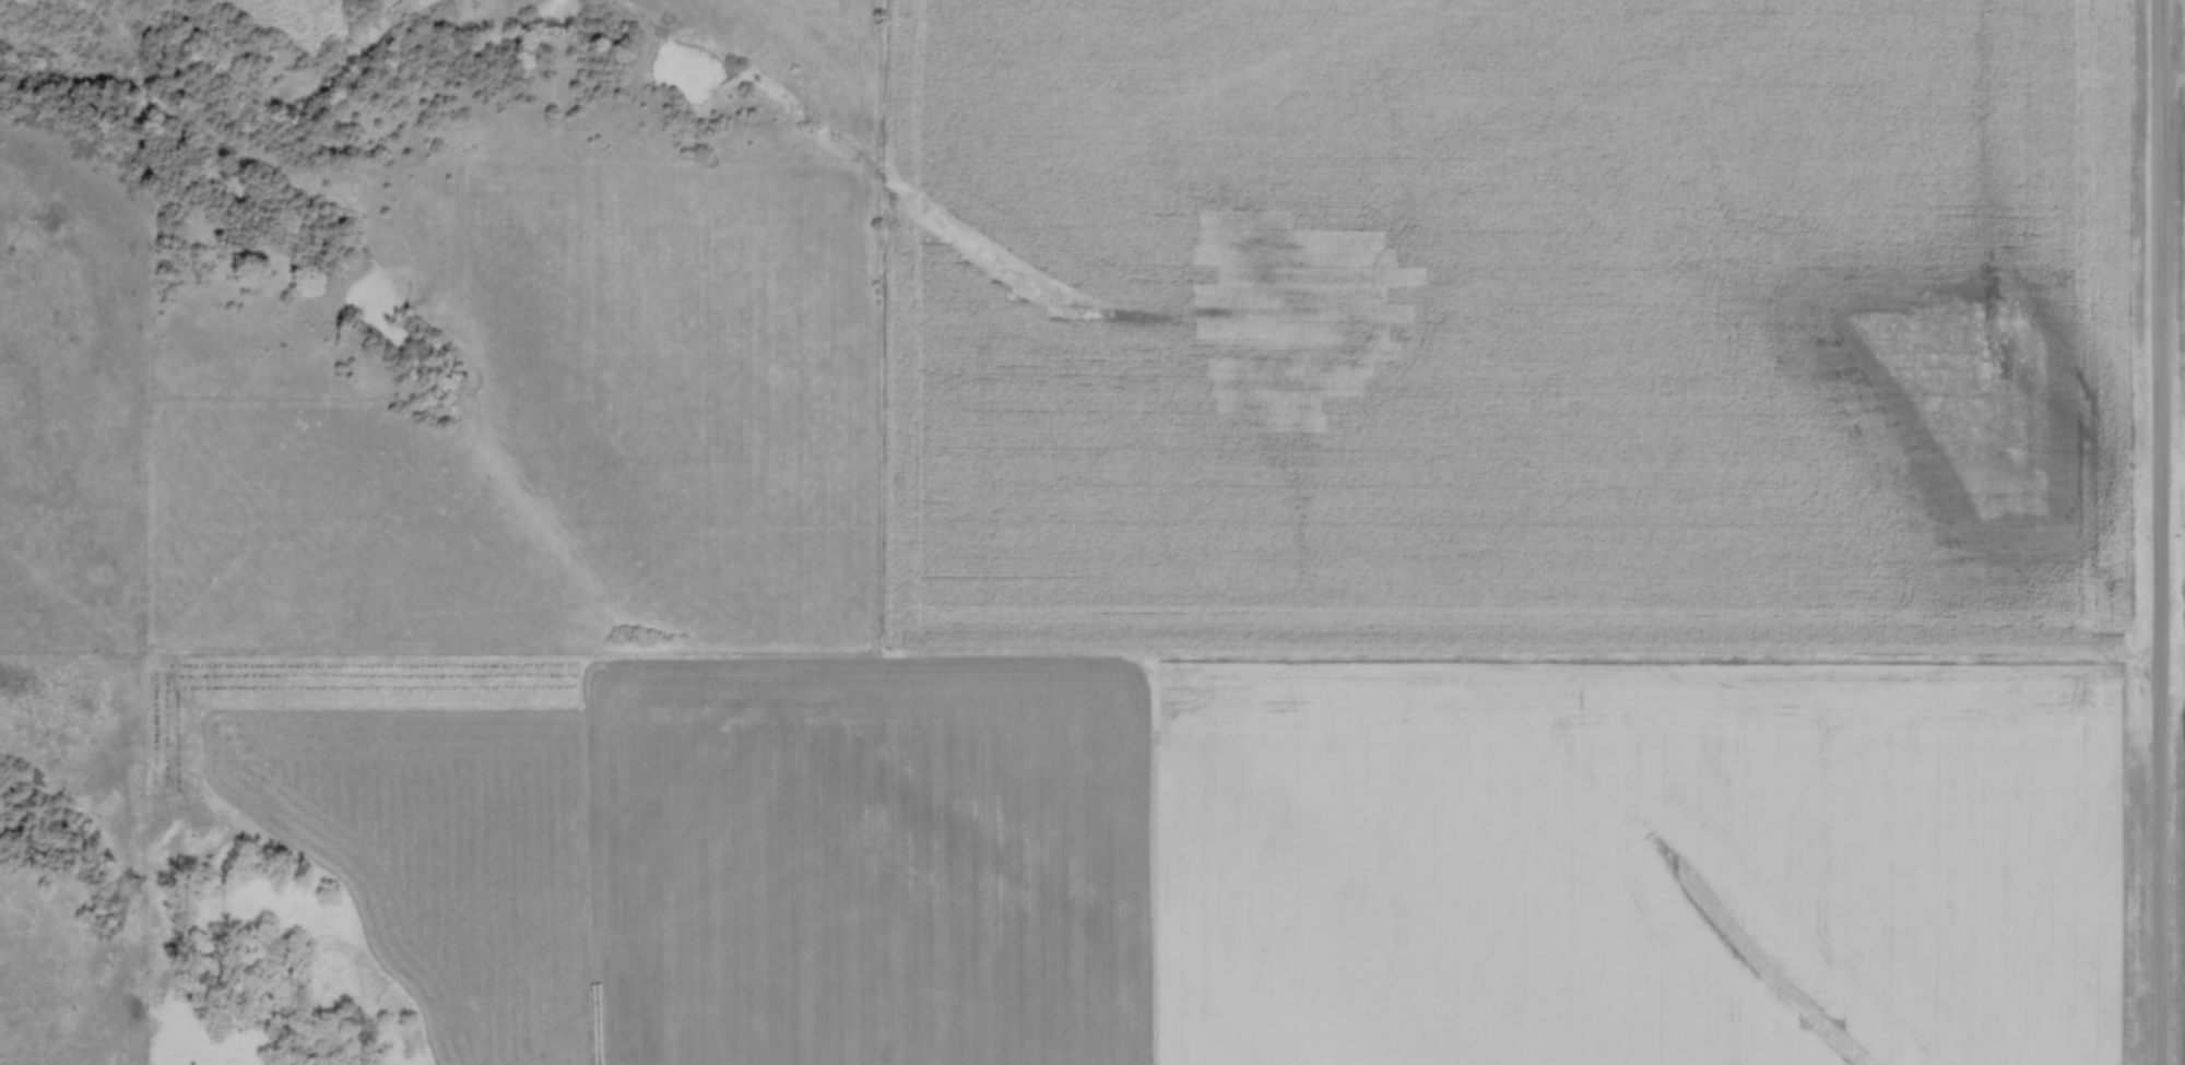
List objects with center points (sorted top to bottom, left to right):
road: (2161, 532)

